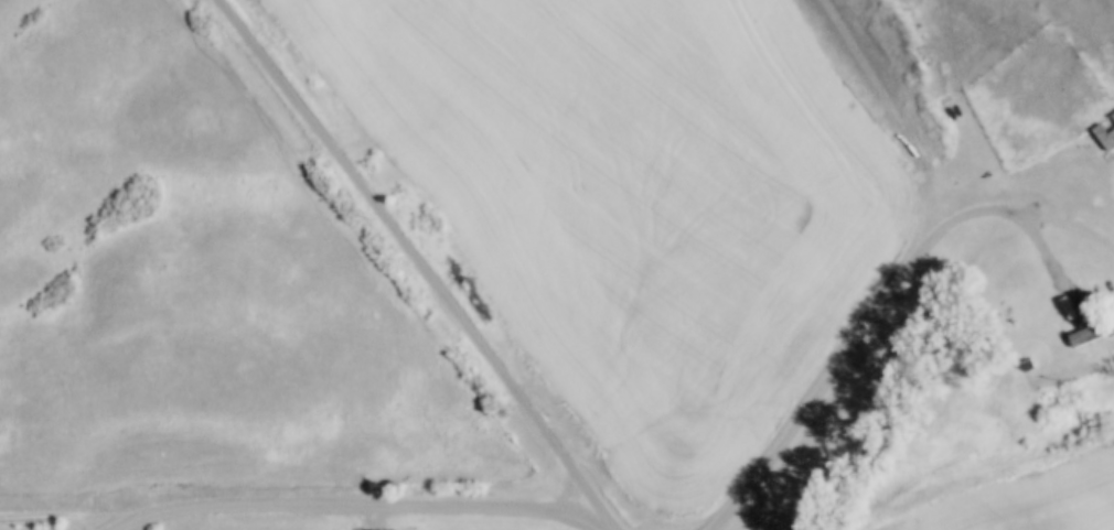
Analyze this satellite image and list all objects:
road: (898, 112)
building: (1106, 132)
road: (422, 258)
road: (877, 302)
building: (1092, 334)
road: (343, 506)
road: (576, 509)
road: (75, 511)
road: (381, 518)
road: (135, 519)
road: (617, 526)

